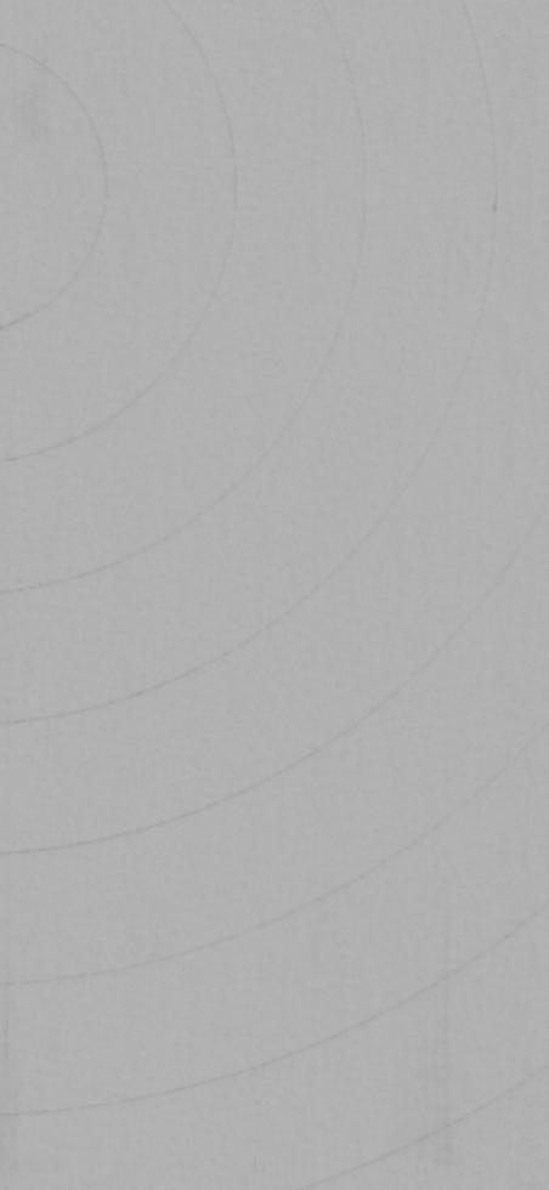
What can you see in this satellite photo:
crop: (274, 595)

